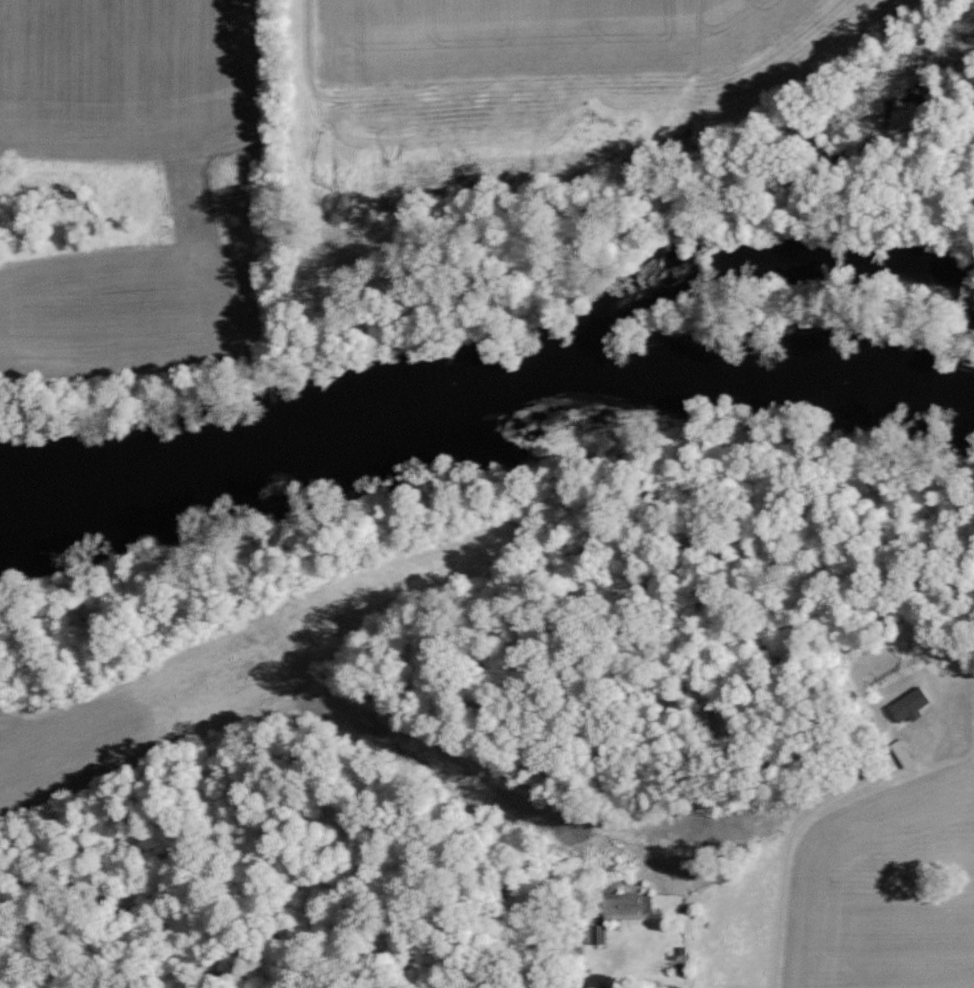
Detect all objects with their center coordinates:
river: (485, 440)
building: (906, 705)
building: (901, 752)
building: (622, 904)
building: (596, 934)

